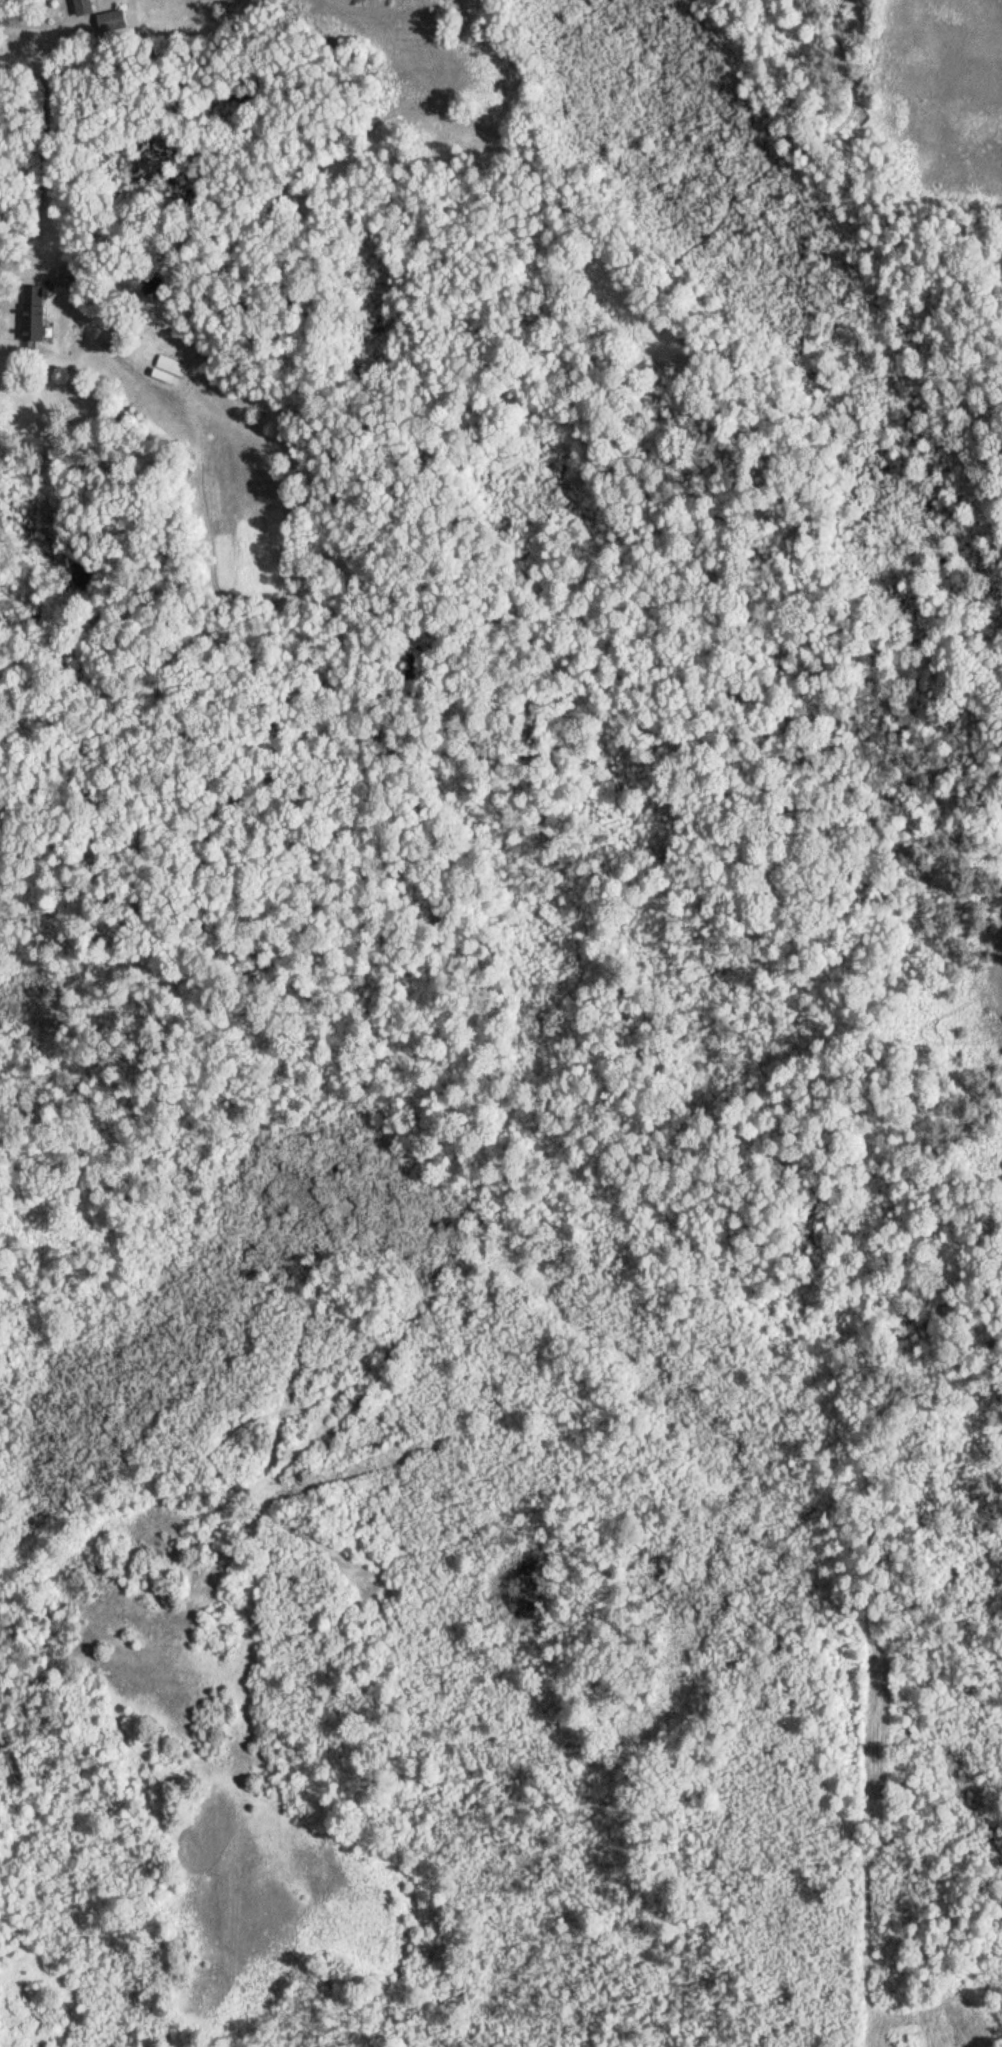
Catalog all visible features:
building: (109, 22)
building: (29, 314)
building: (168, 365)

